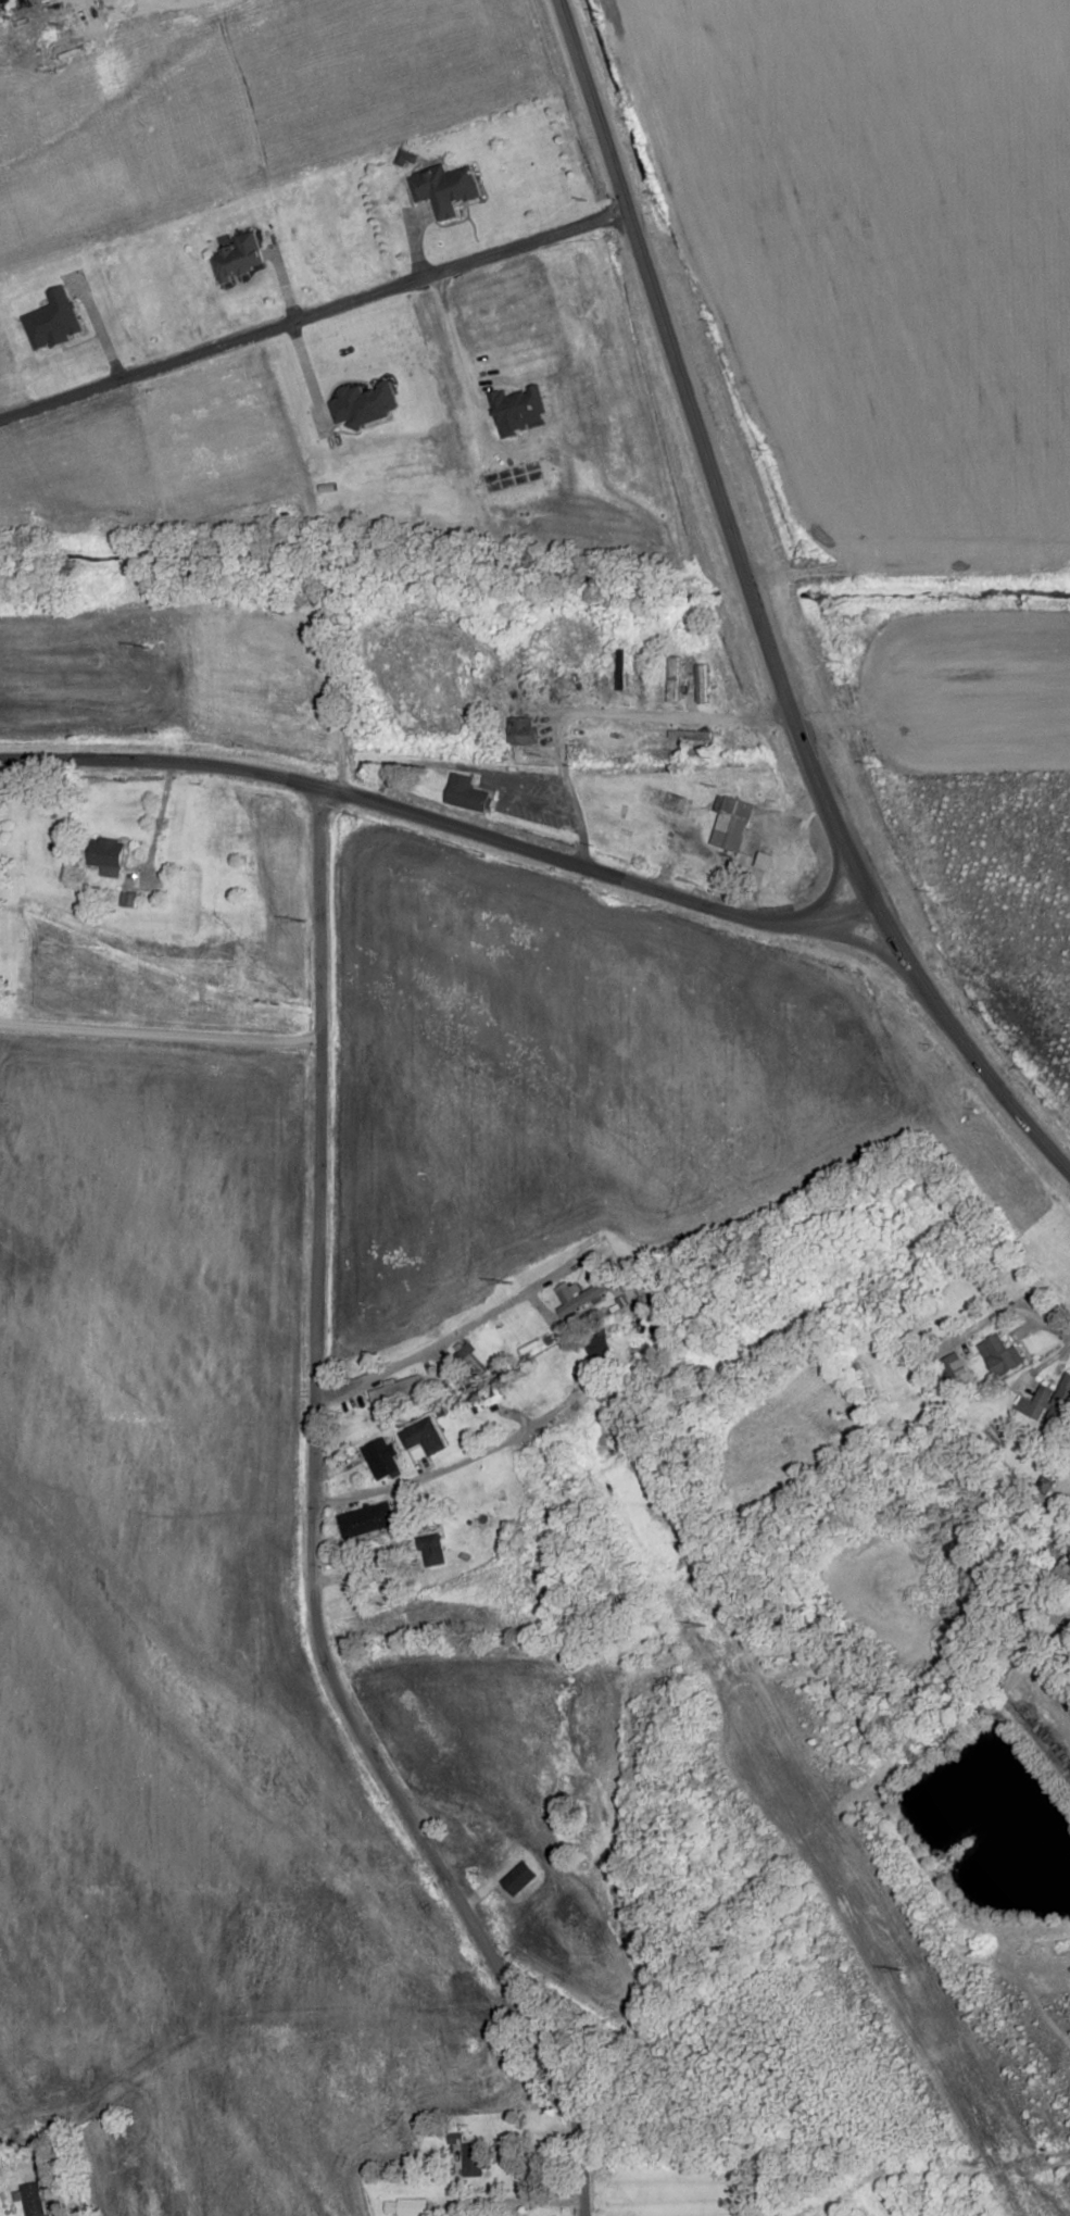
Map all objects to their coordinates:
road: (156, 5)
building: (443, 188)
building: (239, 256)
road: (691, 417)
building: (620, 668)
building: (674, 678)
building: (702, 683)
road: (594, 708)
building: (523, 731)
road: (160, 760)
road: (426, 764)
road: (498, 786)
building: (467, 793)
parking lot: (523, 794)
building: (729, 823)
gas station: (729, 823)
road: (156, 824)
building: (625, 840)
road: (786, 850)
road: (705, 855)
building: (108, 856)
road: (557, 856)
building: (766, 861)
road: (858, 868)
road: (831, 881)
road: (836, 913)
road: (894, 936)
road: (855, 939)
road: (160, 1035)
road: (985, 1073)
building: (582, 1302)
road: (1015, 1302)
building: (1000, 1354)
road: (423, 1355)
building: (469, 1357)
building: (954, 1365)
building: (448, 1374)
building: (398, 1392)
building: (1048, 1404)
building: (423, 1436)
building: (381, 1458)
road: (458, 1462)
building: (366, 1519)
road: (310, 1532)
building: (432, 1549)
road: (564, 1553)
building: (1065, 1566)
building: (519, 1878)
road: (259, 2020)
building: (474, 2159)
building: (34, 2199)
road: (508, 2204)
building: (404, 2206)

